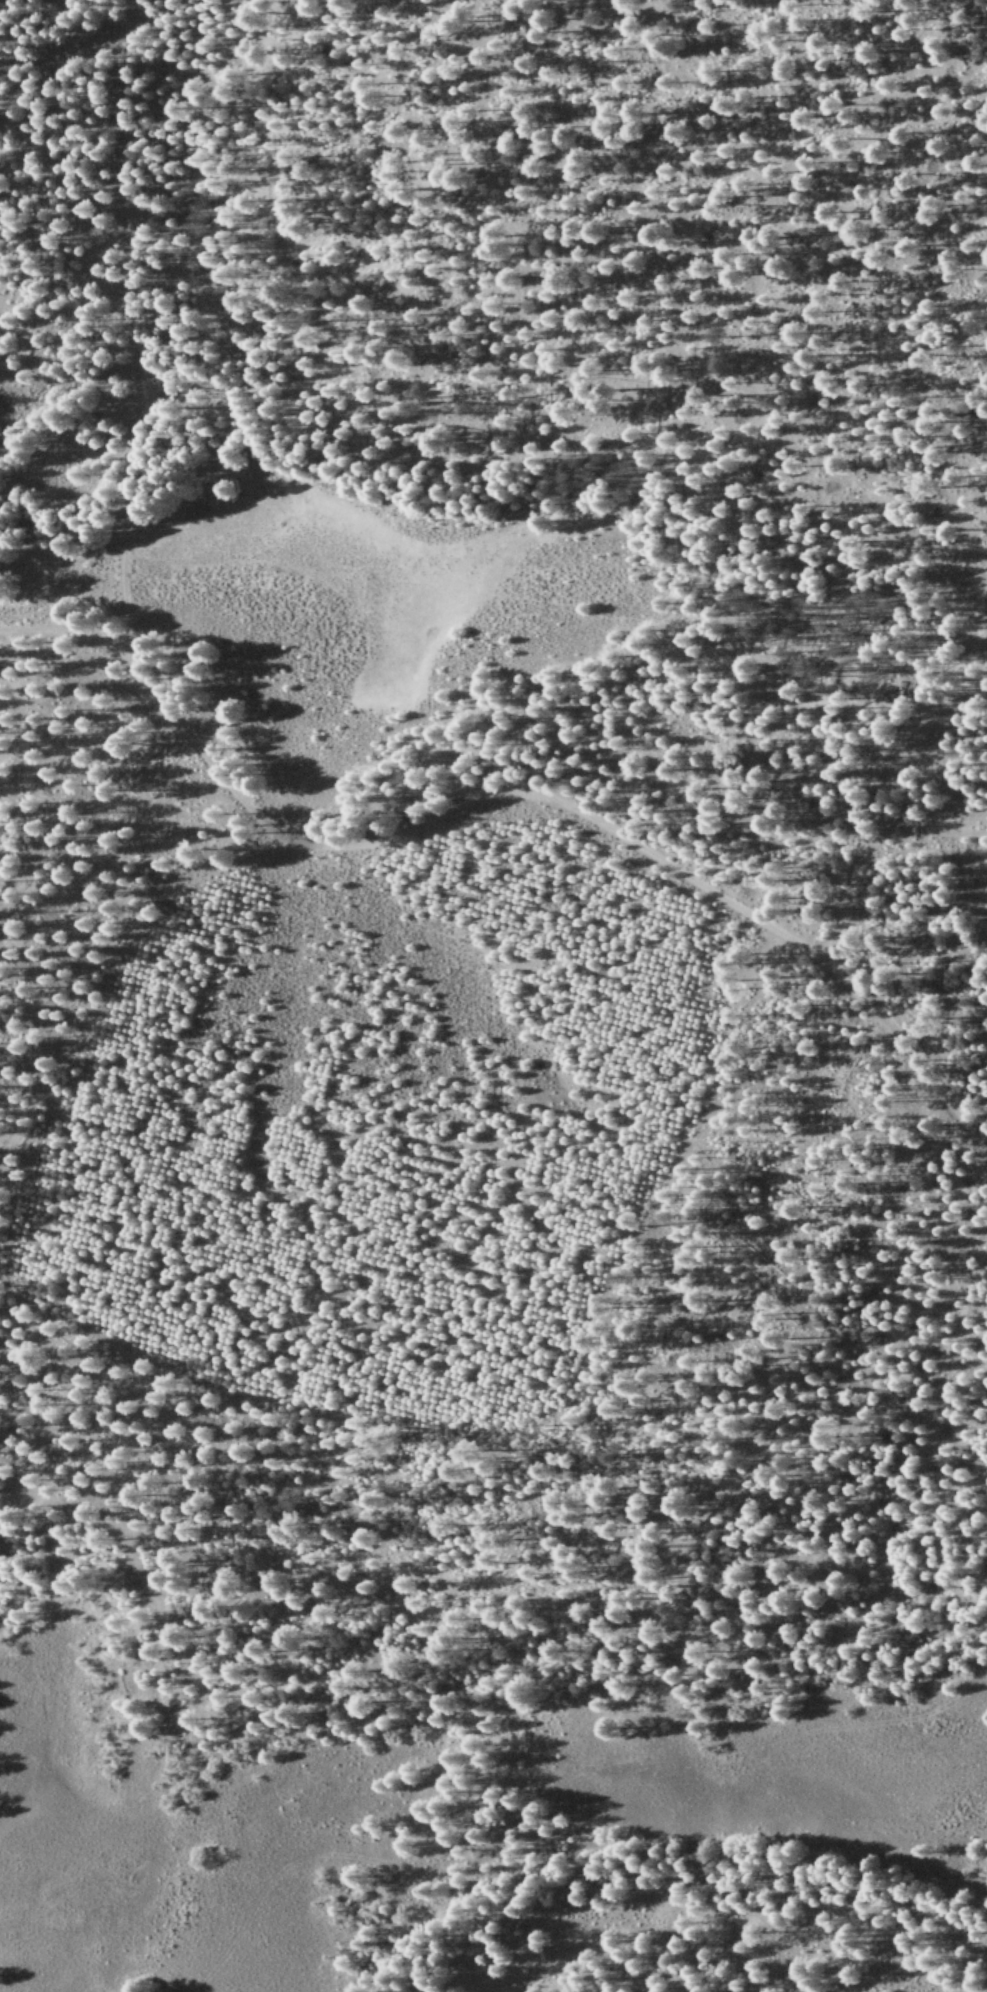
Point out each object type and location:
road: (319, 324)
road: (540, 728)

